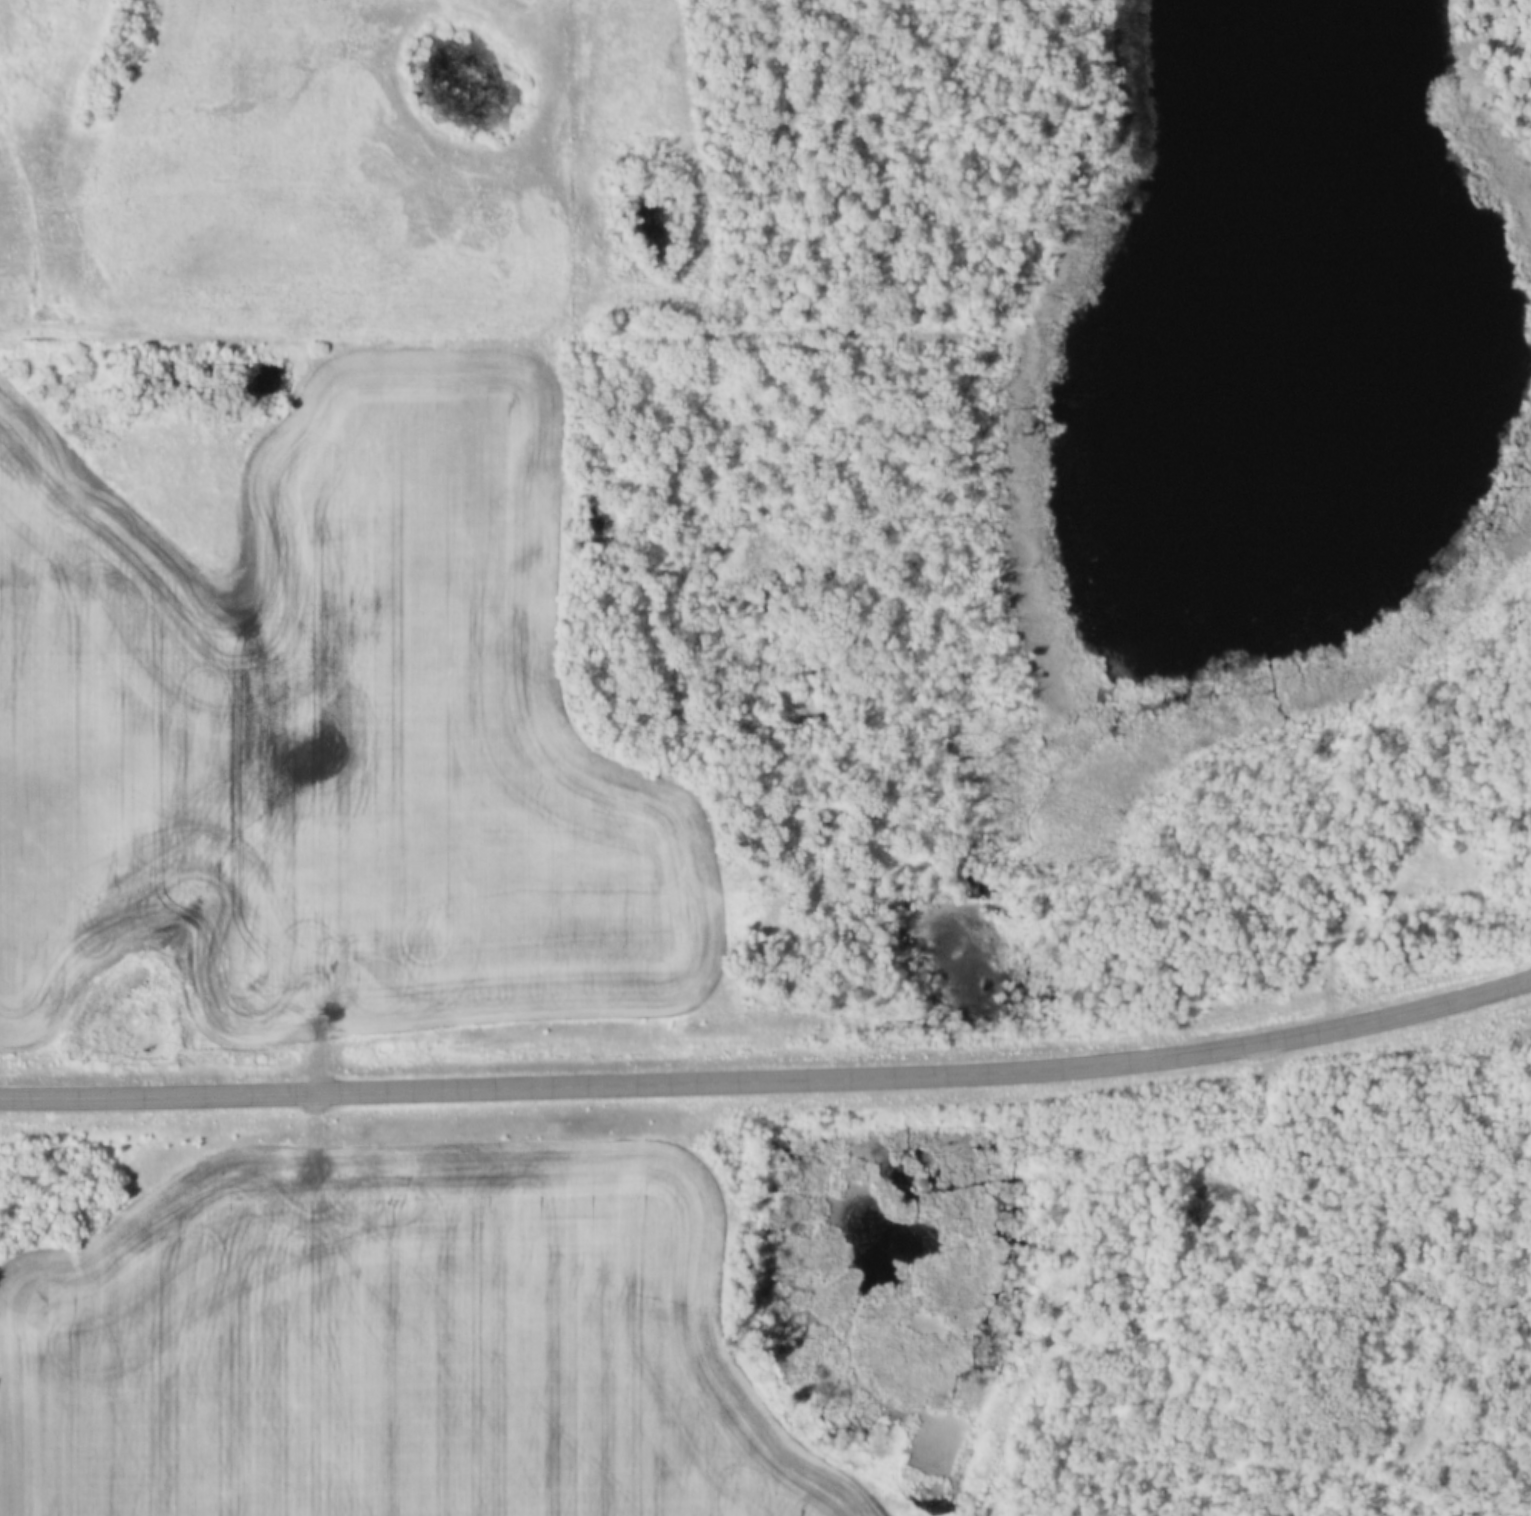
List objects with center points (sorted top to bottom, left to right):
road: (450, 337)
road: (770, 1084)

